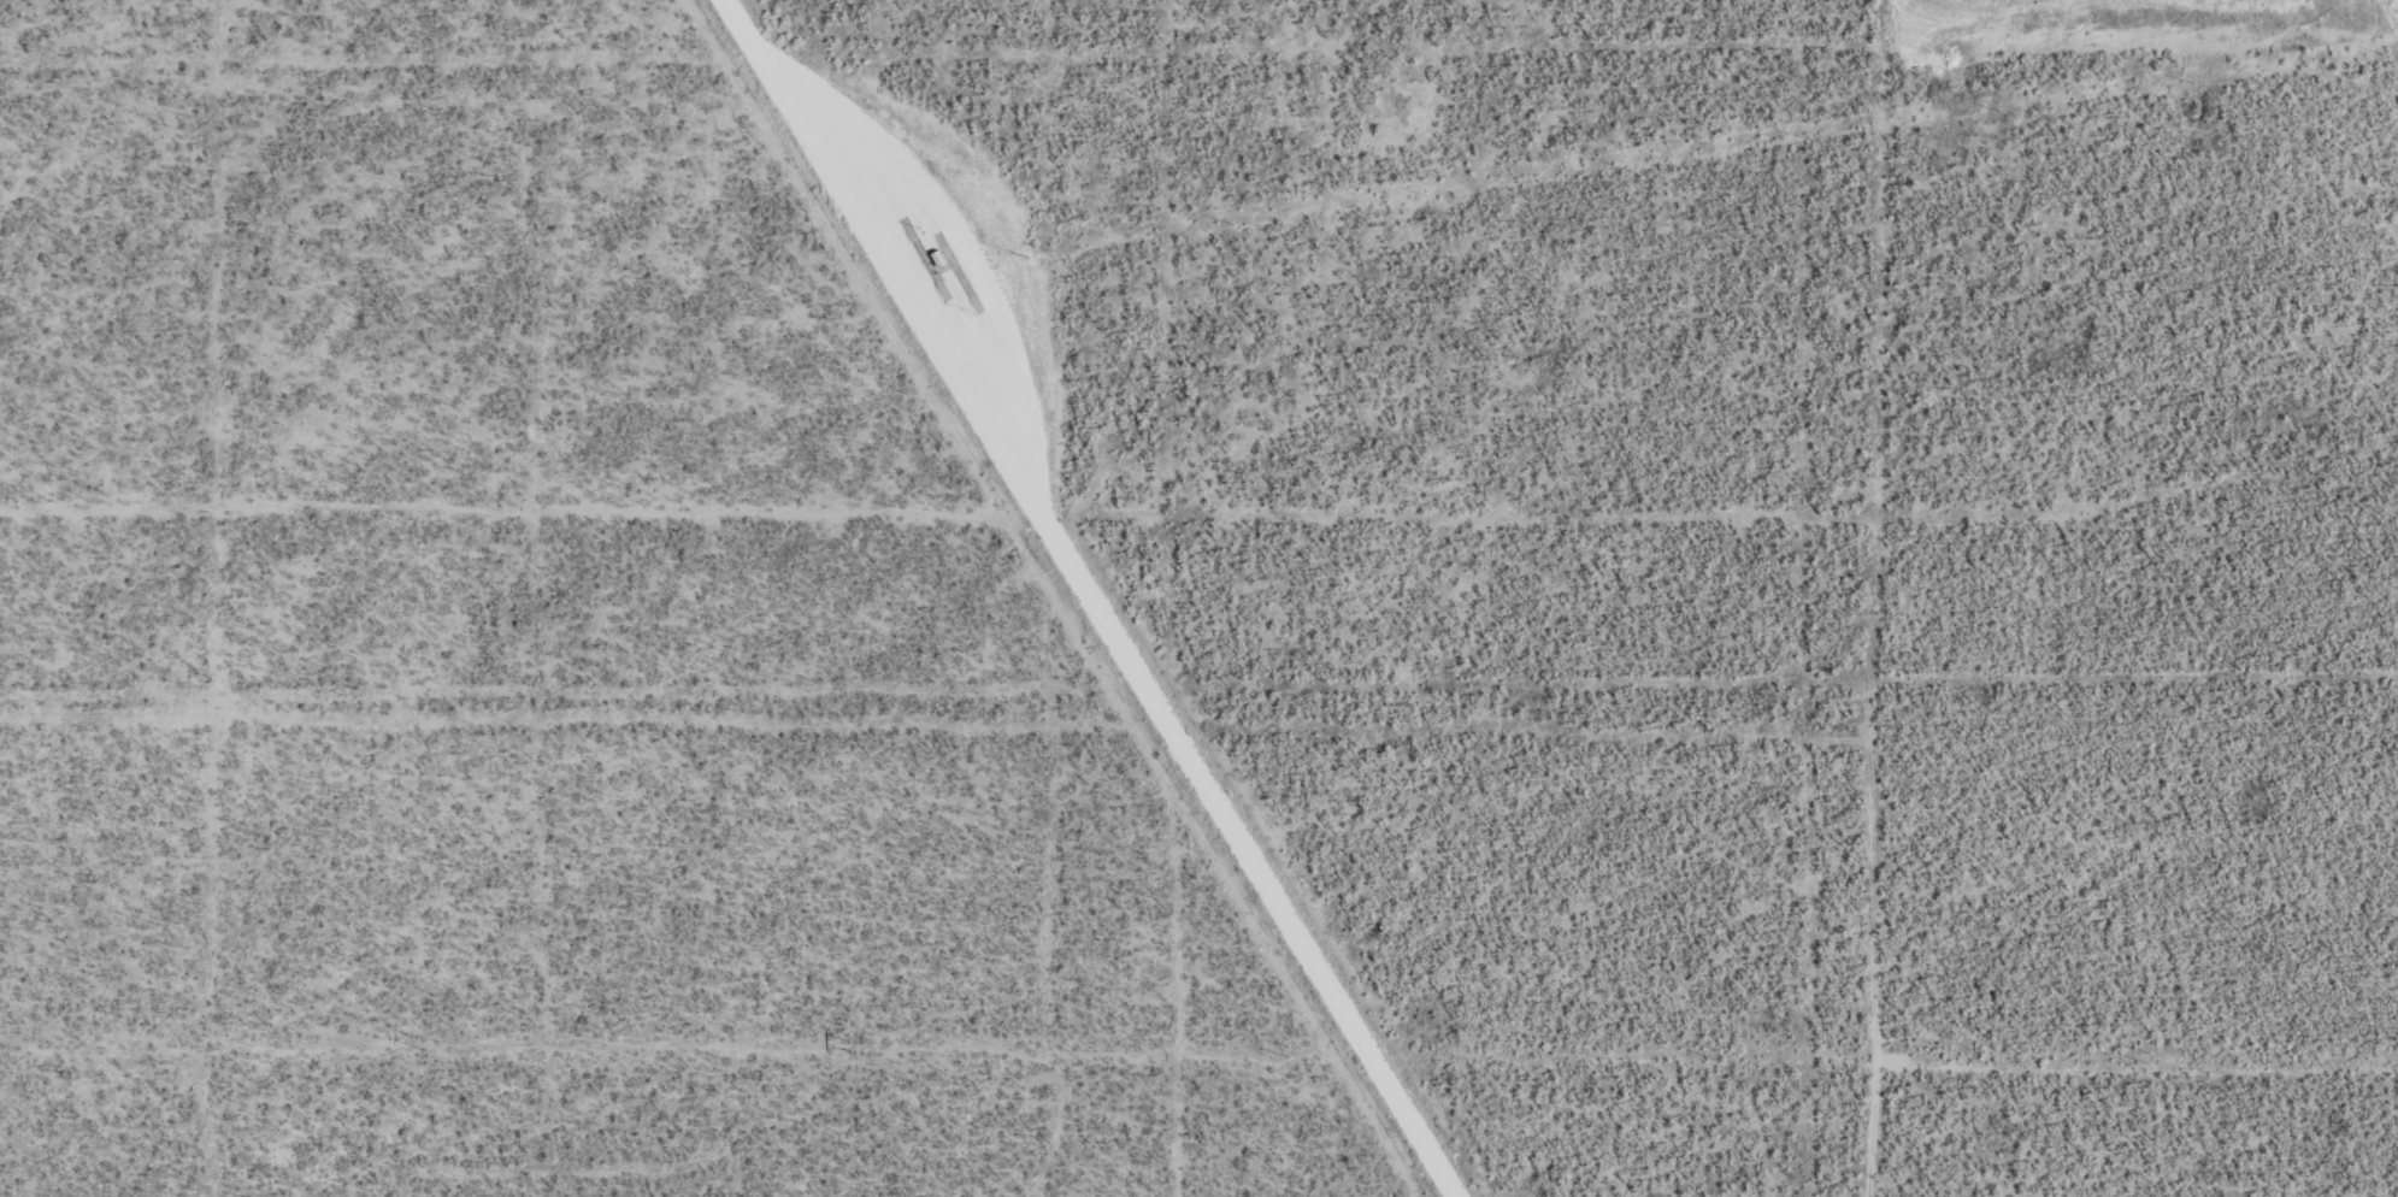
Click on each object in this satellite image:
road: (1089, 596)
power tower: (426, 1045)
power tower: (856, 1049)
power tower: (1288, 1052)
power tower: (1718, 1055)
power tower: (2151, 1059)

